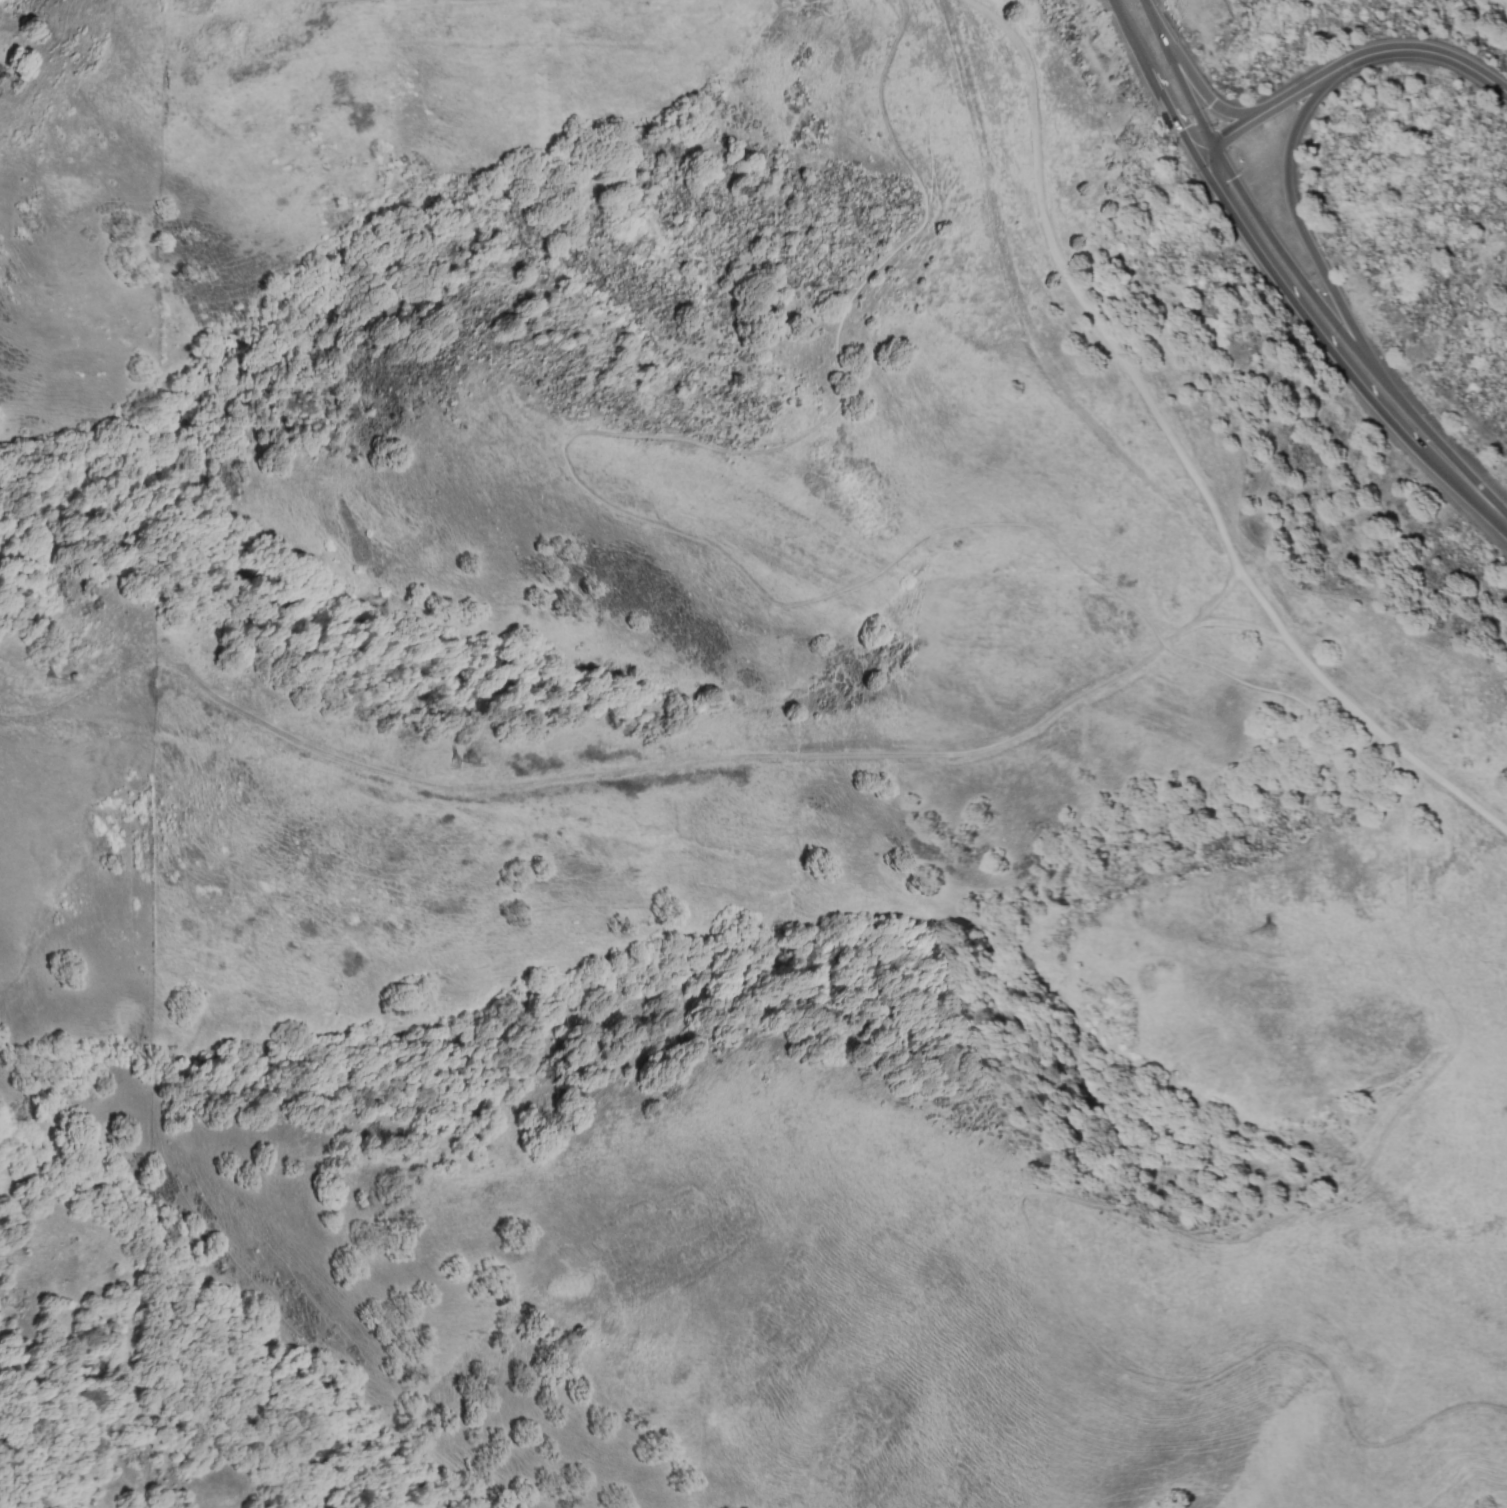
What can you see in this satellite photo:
road: (1346, 67)
road: (1197, 83)
traffic signals: (1210, 100)
traffic signals: (1215, 148)
traffic signals: (1198, 159)
road: (1301, 225)
road: (1295, 269)
road: (1274, 275)
road: (1173, 448)
road: (1498, 516)
road: (1252, 630)
road: (99, 682)
road: (1282, 692)
road: (714, 760)

